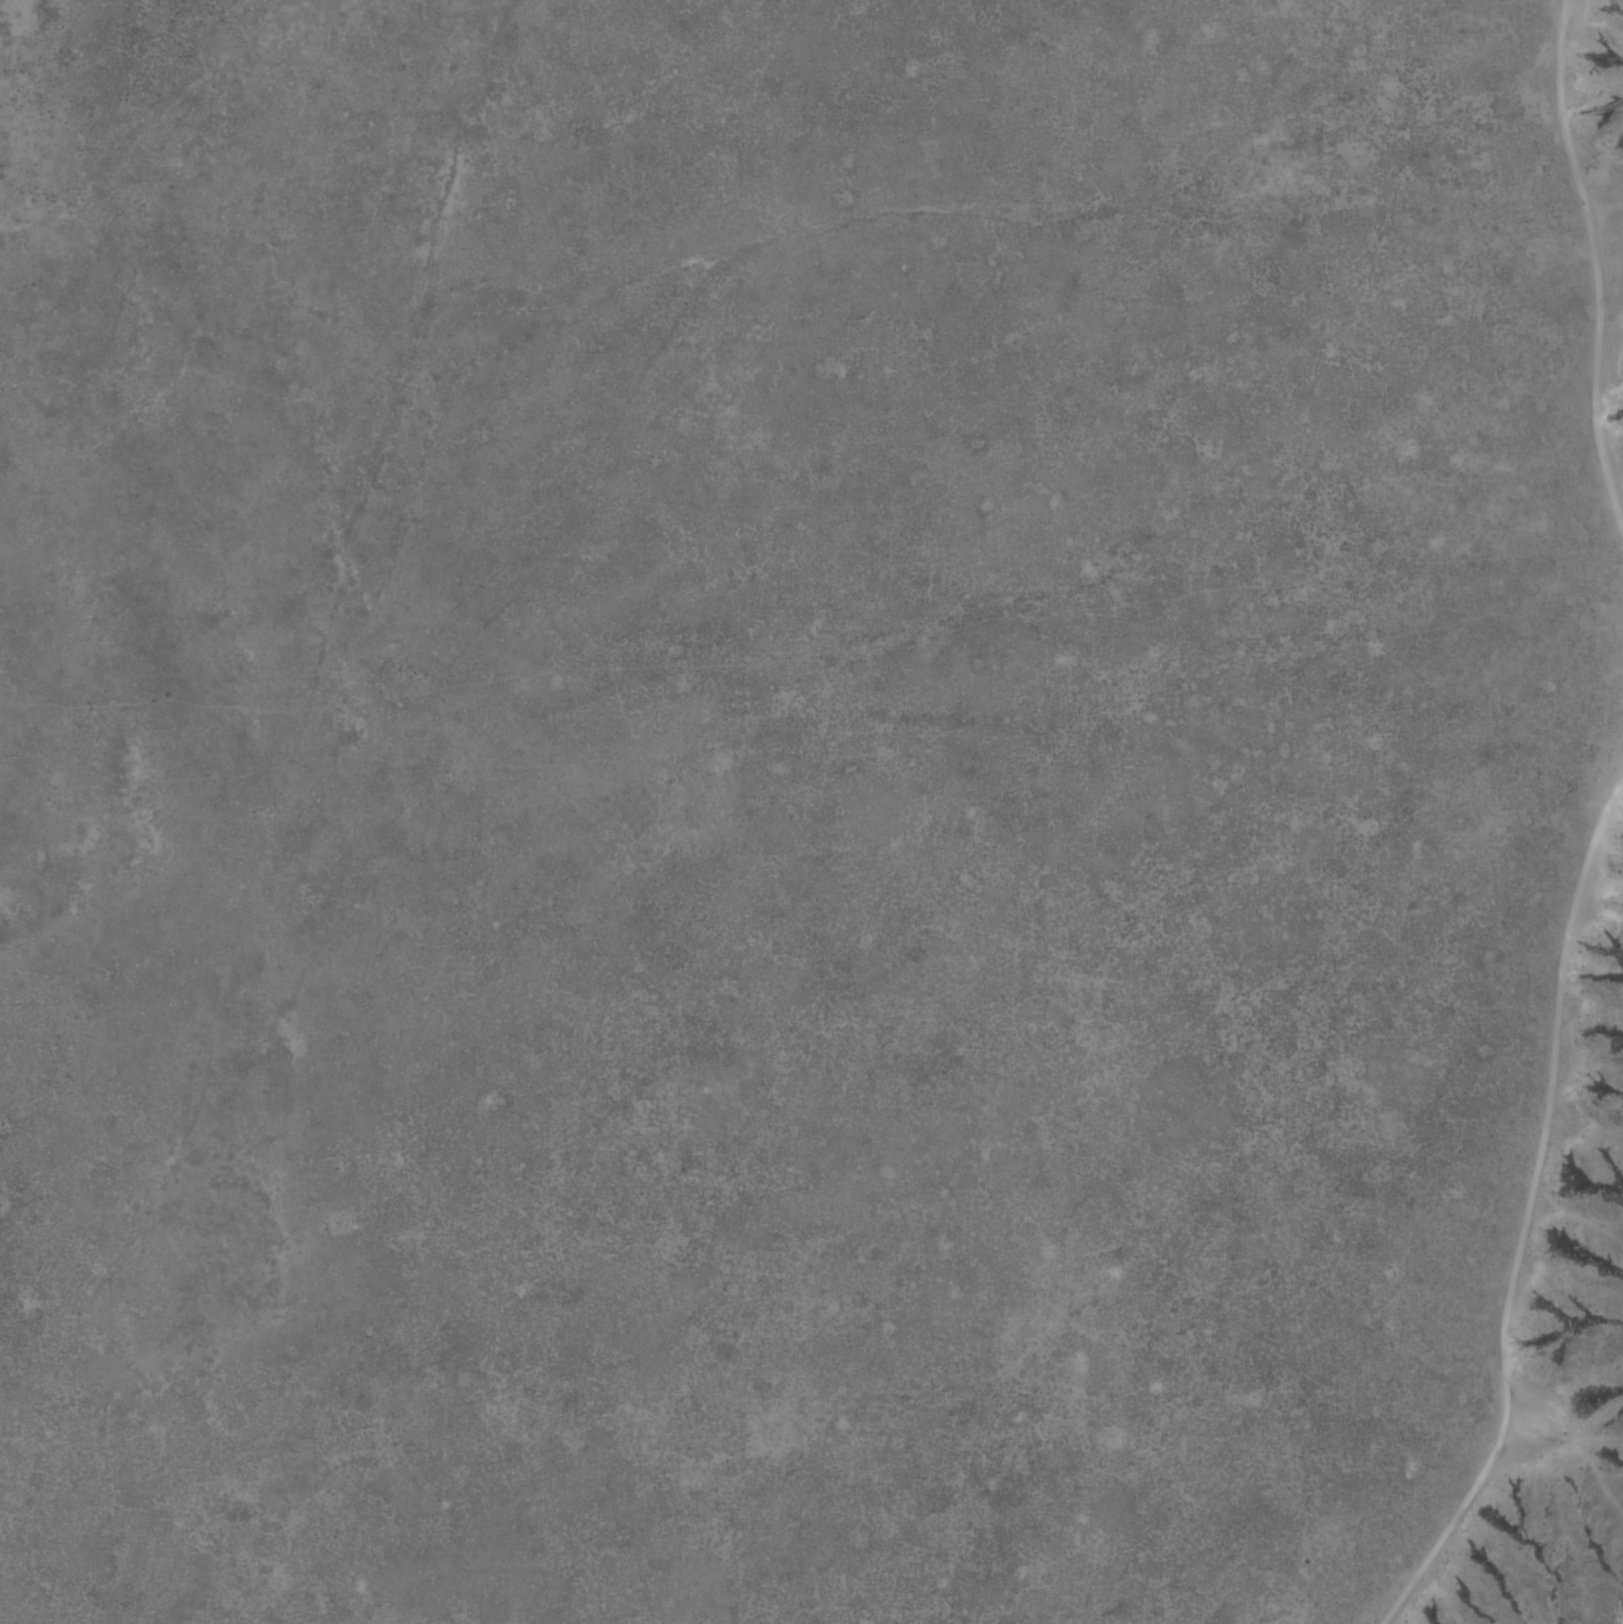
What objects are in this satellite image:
road: (1604, 253)
road: (1532, 1219)

